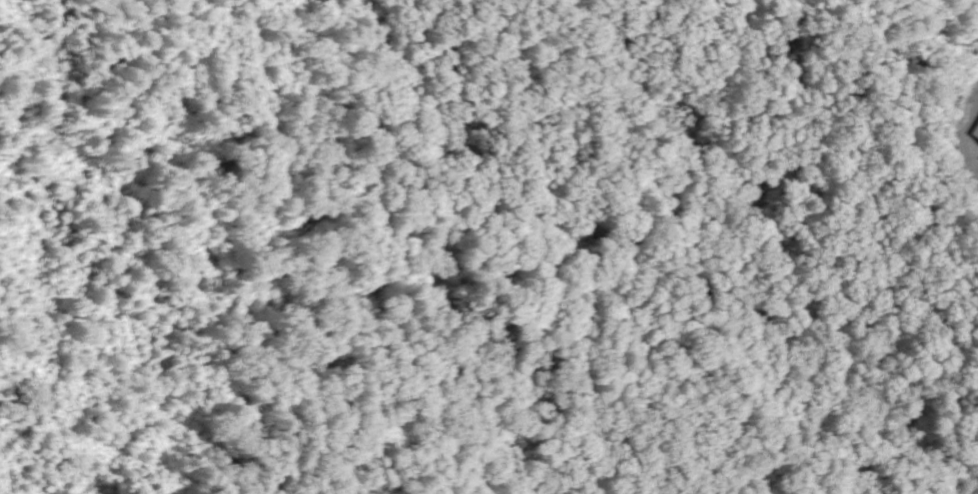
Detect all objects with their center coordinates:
building: (976, 136)

